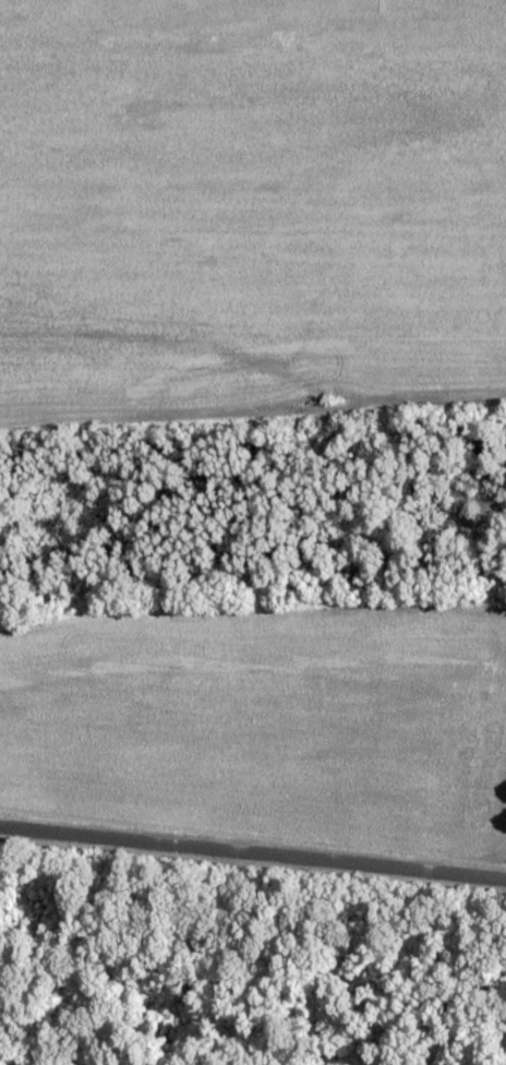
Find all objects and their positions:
road: (253, 854)

